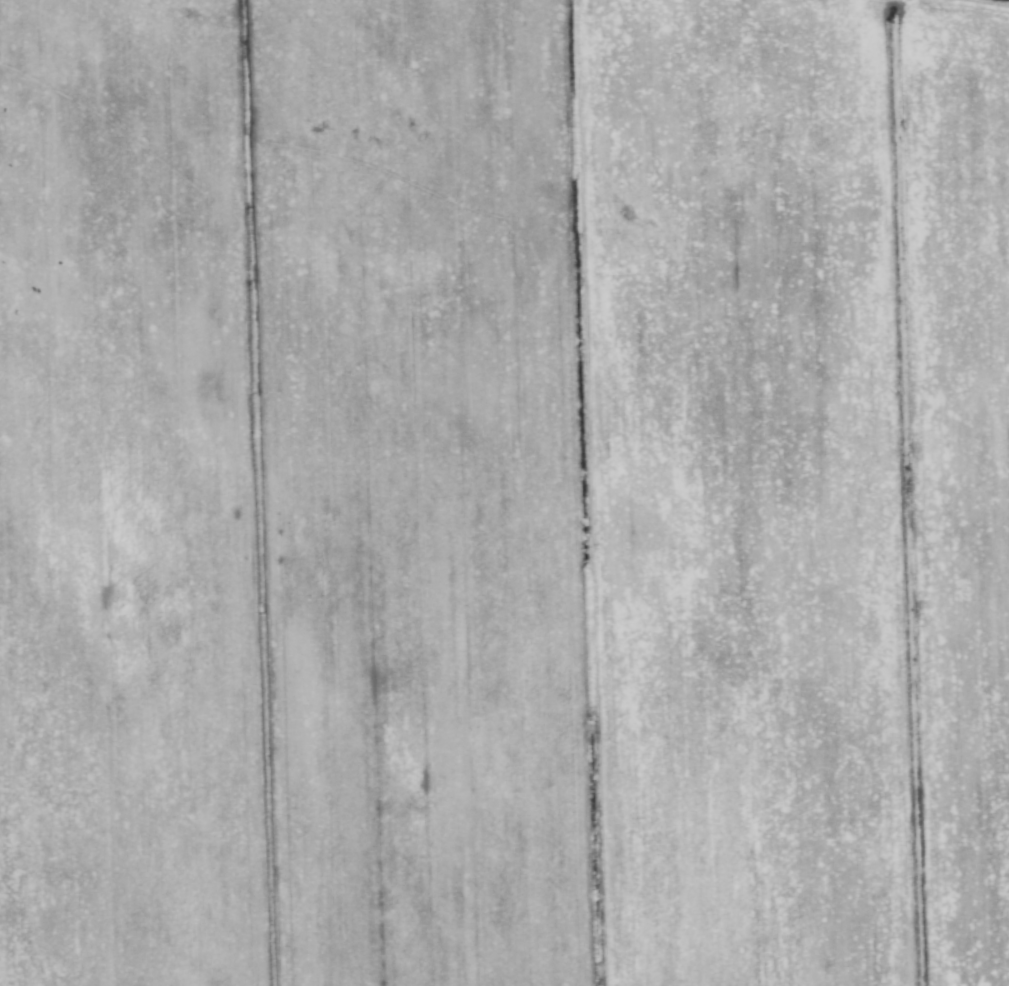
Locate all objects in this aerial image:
crop: (504, 493)

